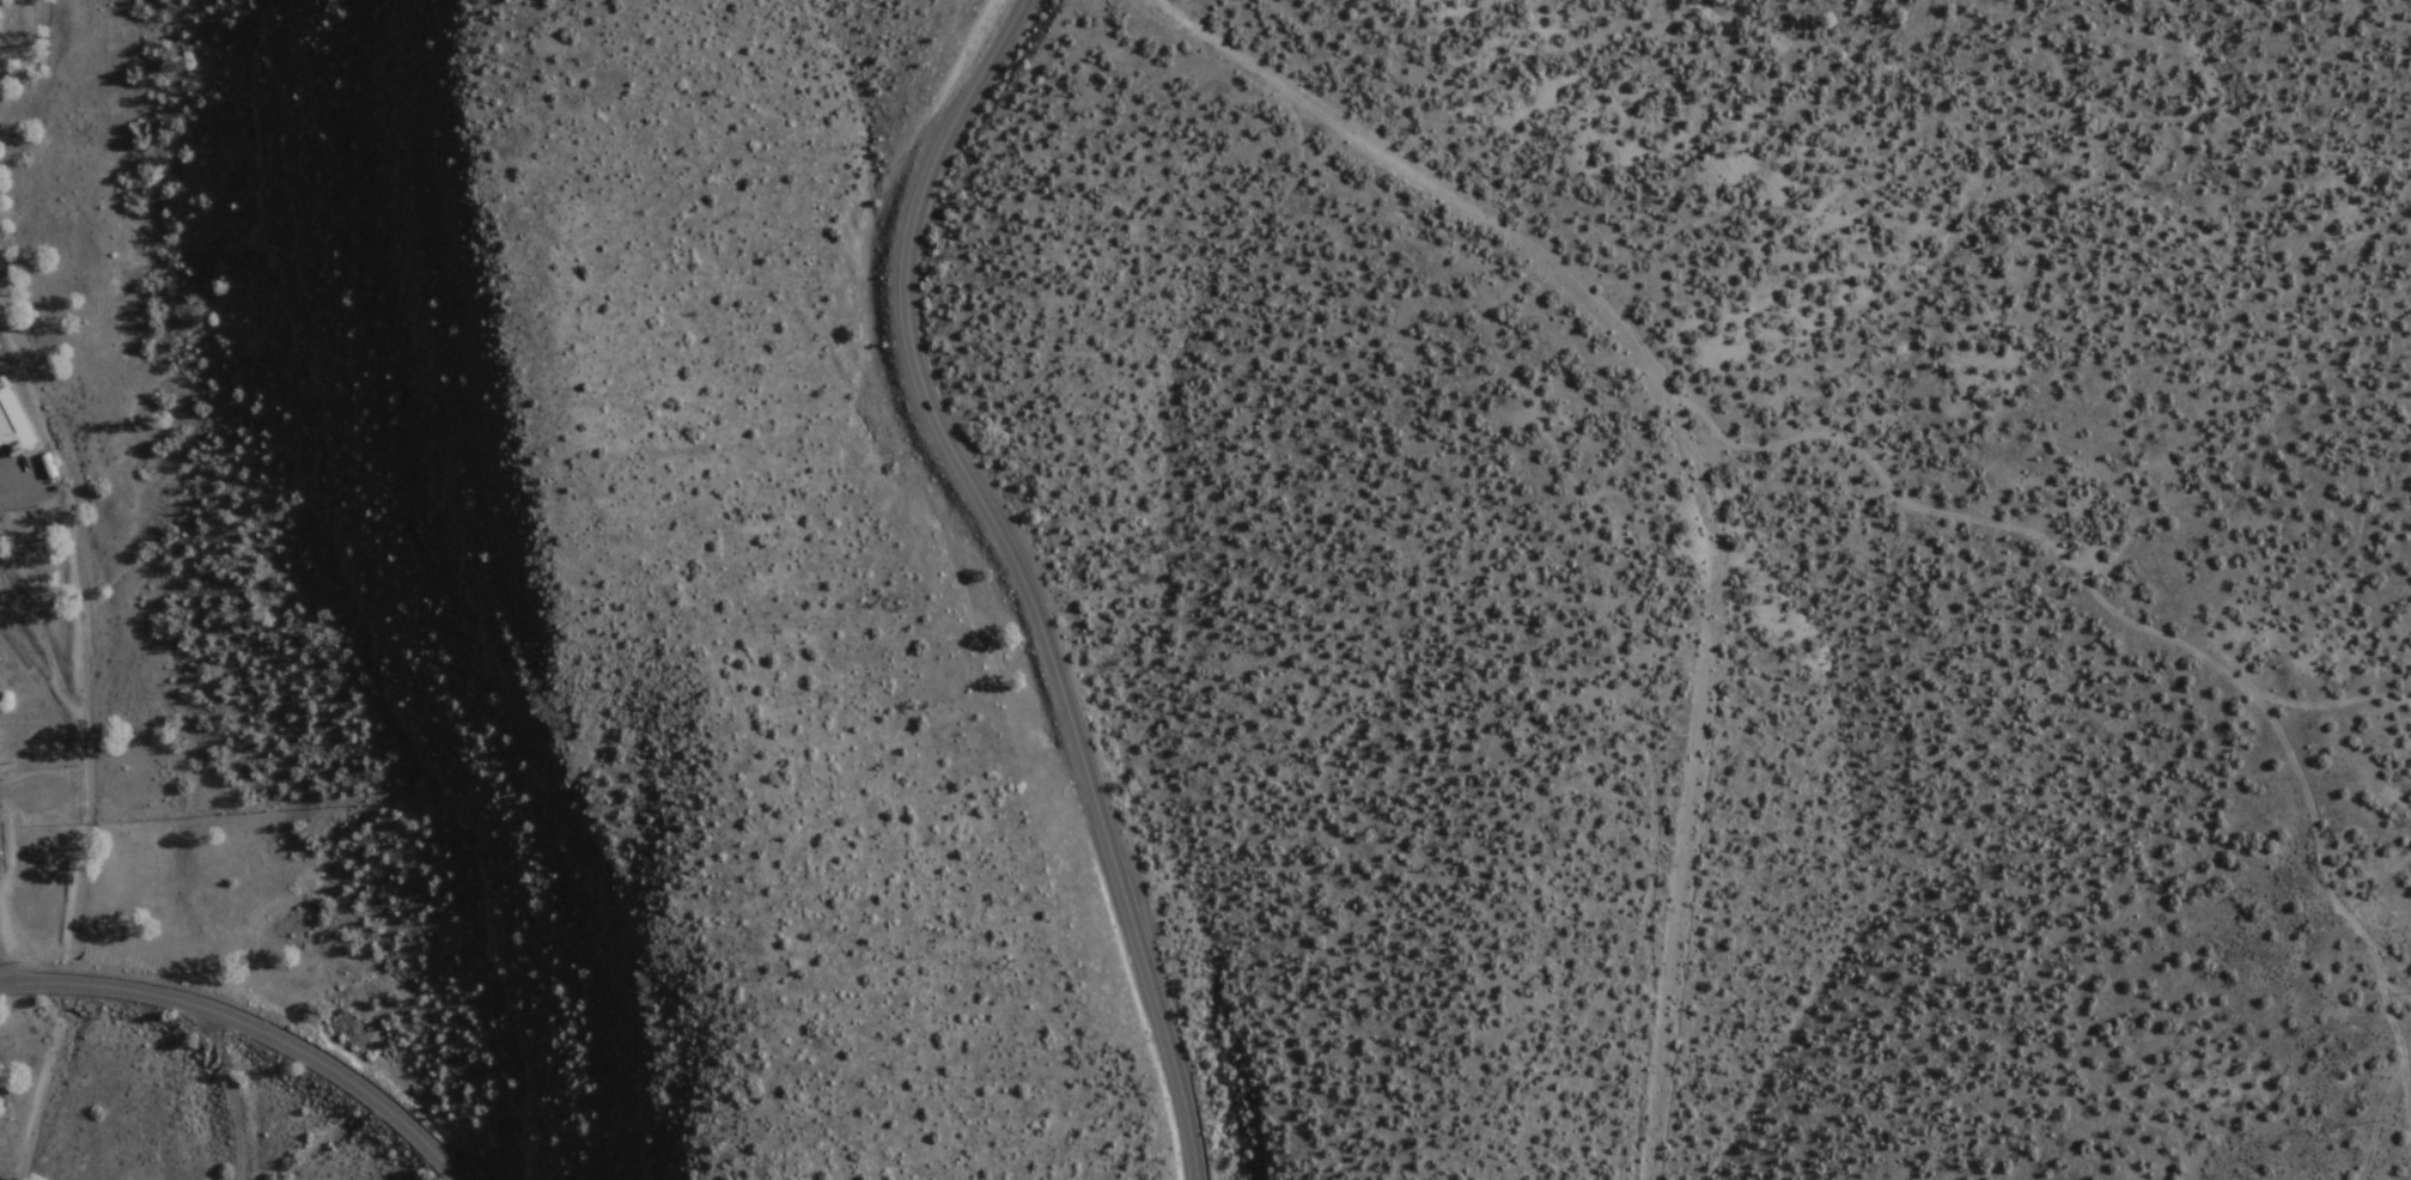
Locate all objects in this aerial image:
building: (14, 424)
road: (1762, 439)
road: (1019, 577)
road: (2337, 880)
road: (251, 1027)
road: (231, 1095)
road: (2403, 1095)

